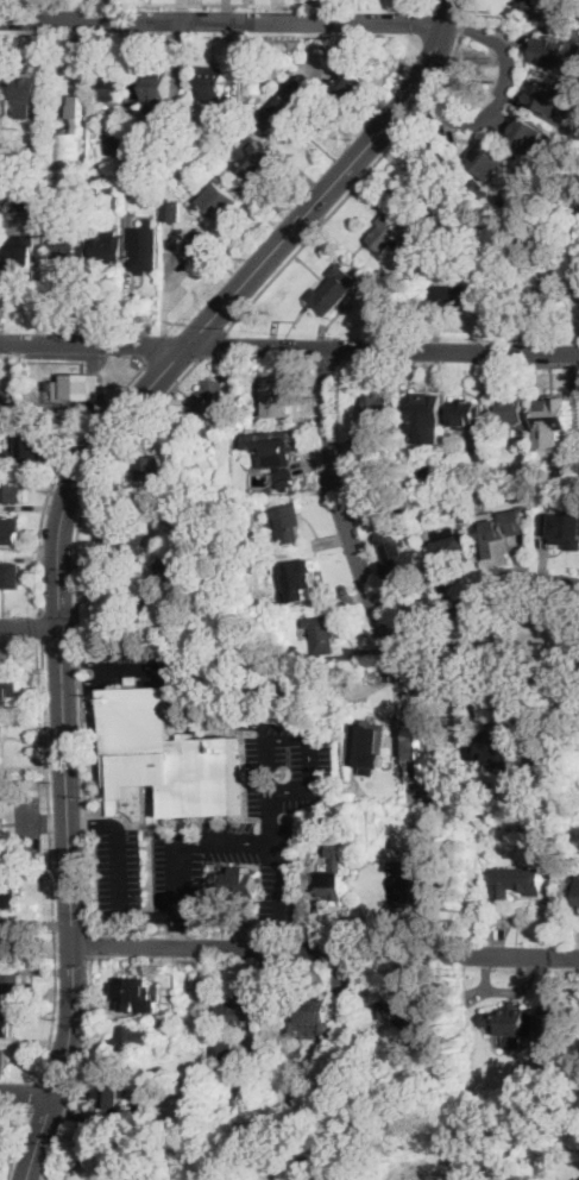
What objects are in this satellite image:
road: (45, 1)
road: (194, 2)
building: (530, 5)
road: (224, 21)
building: (558, 52)
building: (109, 82)
building: (347, 82)
building: (157, 86)
building: (212, 86)
building: (27, 90)
road: (503, 94)
building: (548, 95)
building: (1, 99)
building: (77, 105)
building: (288, 107)
building: (514, 107)
building: (530, 132)
building: (199, 139)
building: (74, 146)
building: (117, 147)
building: (487, 158)
building: (254, 161)
building: (29, 163)
road: (364, 175)
building: (130, 182)
building: (477, 186)
building: (95, 187)
building: (392, 193)
building: (83, 195)
building: (30, 196)
building: (219, 200)
building: (508, 202)
building: (172, 212)
building: (451, 219)
building: (573, 228)
building: (386, 233)
building: (107, 246)
building: (199, 246)
building: (409, 247)
building: (70, 249)
building: (144, 250)
building: (561, 261)
building: (21, 265)
building: (543, 285)
building: (333, 290)
building: (578, 290)
building: (458, 297)
road: (225, 302)
road: (215, 344)
road: (289, 349)
building: (78, 388)
building: (5, 391)
building: (278, 397)
building: (210, 400)
building: (380, 406)
building: (511, 408)
building: (426, 415)
building: (465, 415)
building: (554, 416)
building: (33, 448)
building: (485, 451)
building: (279, 460)
building: (369, 467)
building: (152, 469)
road: (57, 473)
building: (13, 488)
building: (259, 504)
building: (520, 507)
building: (287, 523)
building: (559, 523)
building: (10, 529)
building: (505, 529)
building: (448, 544)
building: (122, 545)
building: (399, 559)
building: (182, 564)
building: (10, 575)
building: (302, 578)
building: (124, 596)
road: (371, 597)
road: (483, 601)
road: (77, 620)
road: (30, 626)
road: (42, 627)
building: (322, 633)
park: (516, 640)
road: (145, 669)
road: (109, 671)
building: (279, 686)
building: (8, 691)
road: (196, 722)
building: (6, 740)
building: (370, 745)
building: (492, 748)
building: (428, 754)
building: (550, 754)
building: (168, 755)
road: (265, 780)
building: (402, 780)
building: (358, 811)
building: (298, 828)
road: (278, 852)
road: (51, 861)
building: (334, 875)
building: (521, 879)
building: (238, 883)
building: (424, 884)
building: (8, 895)
road: (71, 906)
building: (8, 908)
road: (122, 914)
road: (136, 930)
road: (178, 931)
road: (89, 942)
building: (11, 946)
road: (326, 949)
building: (12, 983)
building: (134, 994)
building: (310, 1015)
building: (410, 1021)
building: (511, 1023)
building: (7, 1024)
building: (231, 1025)
building: (554, 1028)
building: (177, 1034)
building: (132, 1038)
building: (4, 1061)
road: (78, 1071)
road: (27, 1090)
road: (37, 1093)
building: (112, 1100)
road: (18, 1142)
building: (106, 1178)

